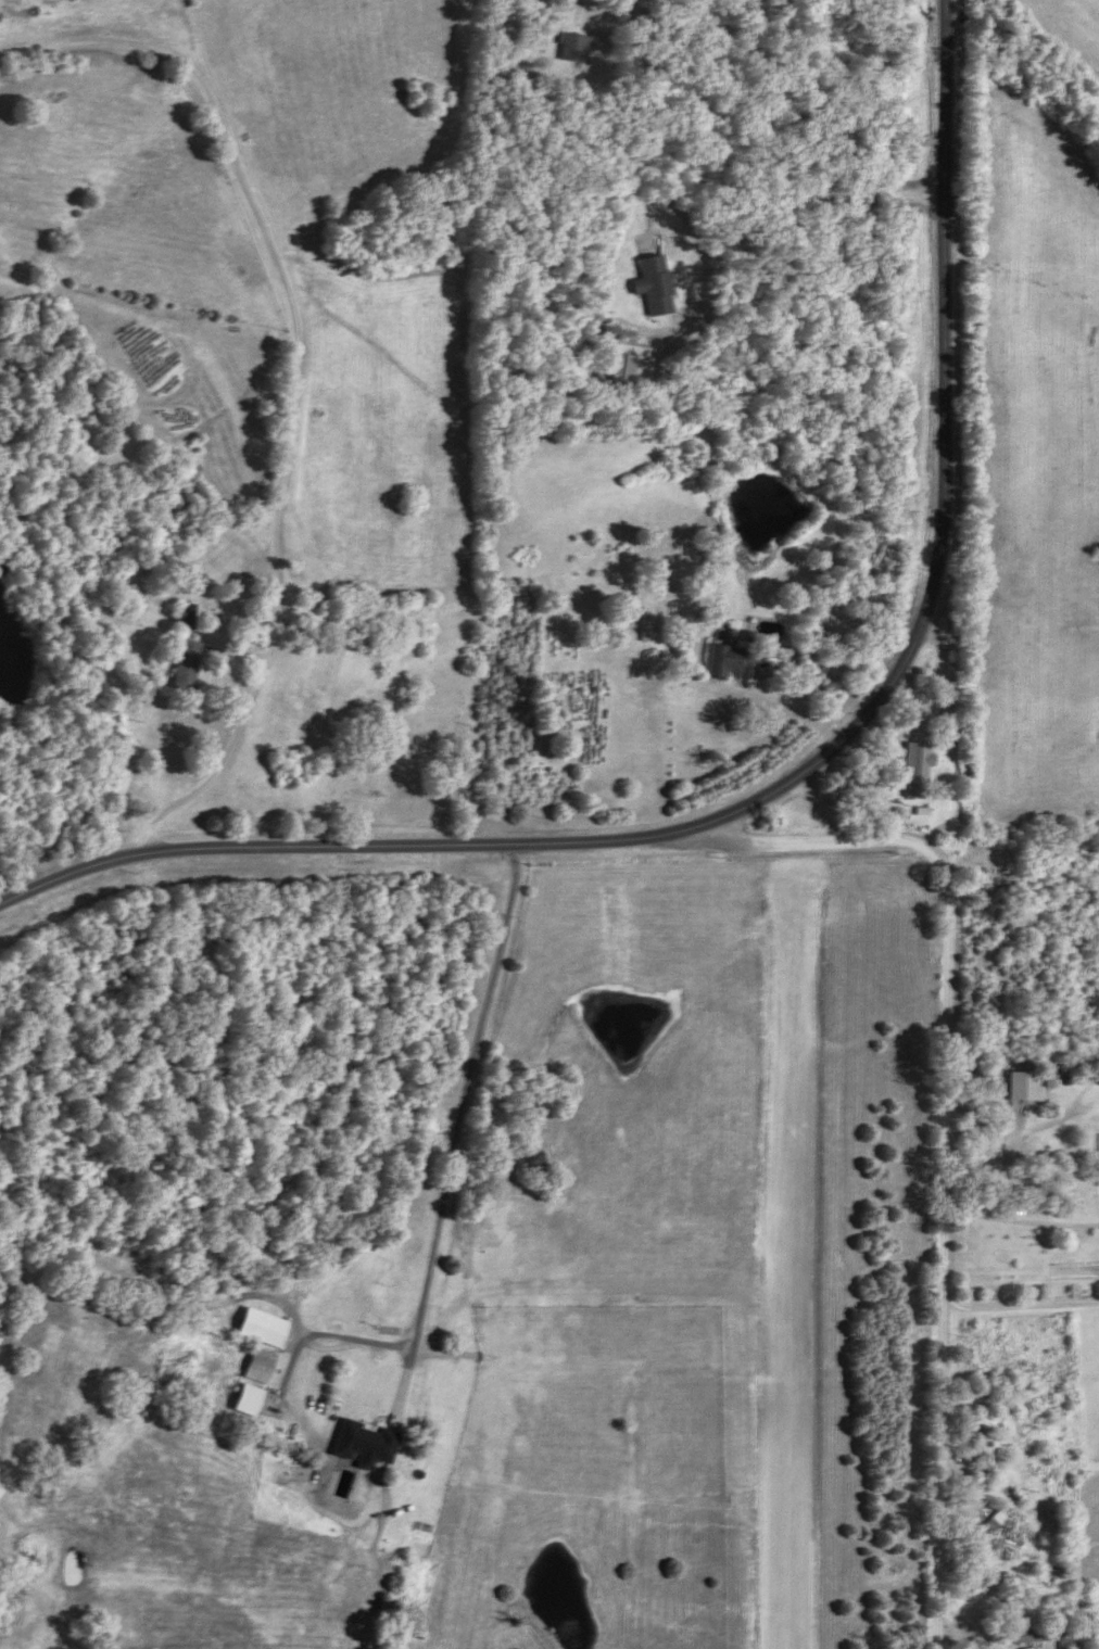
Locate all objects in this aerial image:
building: (573, 48)
building: (649, 283)
road: (291, 377)
building: (185, 616)
building: (643, 625)
building: (727, 661)
building: (187, 664)
road: (729, 693)
building: (911, 770)
road: (798, 775)
building: (1045, 1079)
building: (1014, 1086)
road: (945, 1129)
road: (459, 1133)
road: (1010, 1151)
building: (983, 1156)
building: (1096, 1159)
road: (1041, 1214)
road: (990, 1217)
road: (1021, 1301)
building: (263, 1328)
building: (365, 1444)
building: (978, 1448)
building: (1001, 1538)
building: (1016, 1636)
building: (1022, 1648)

